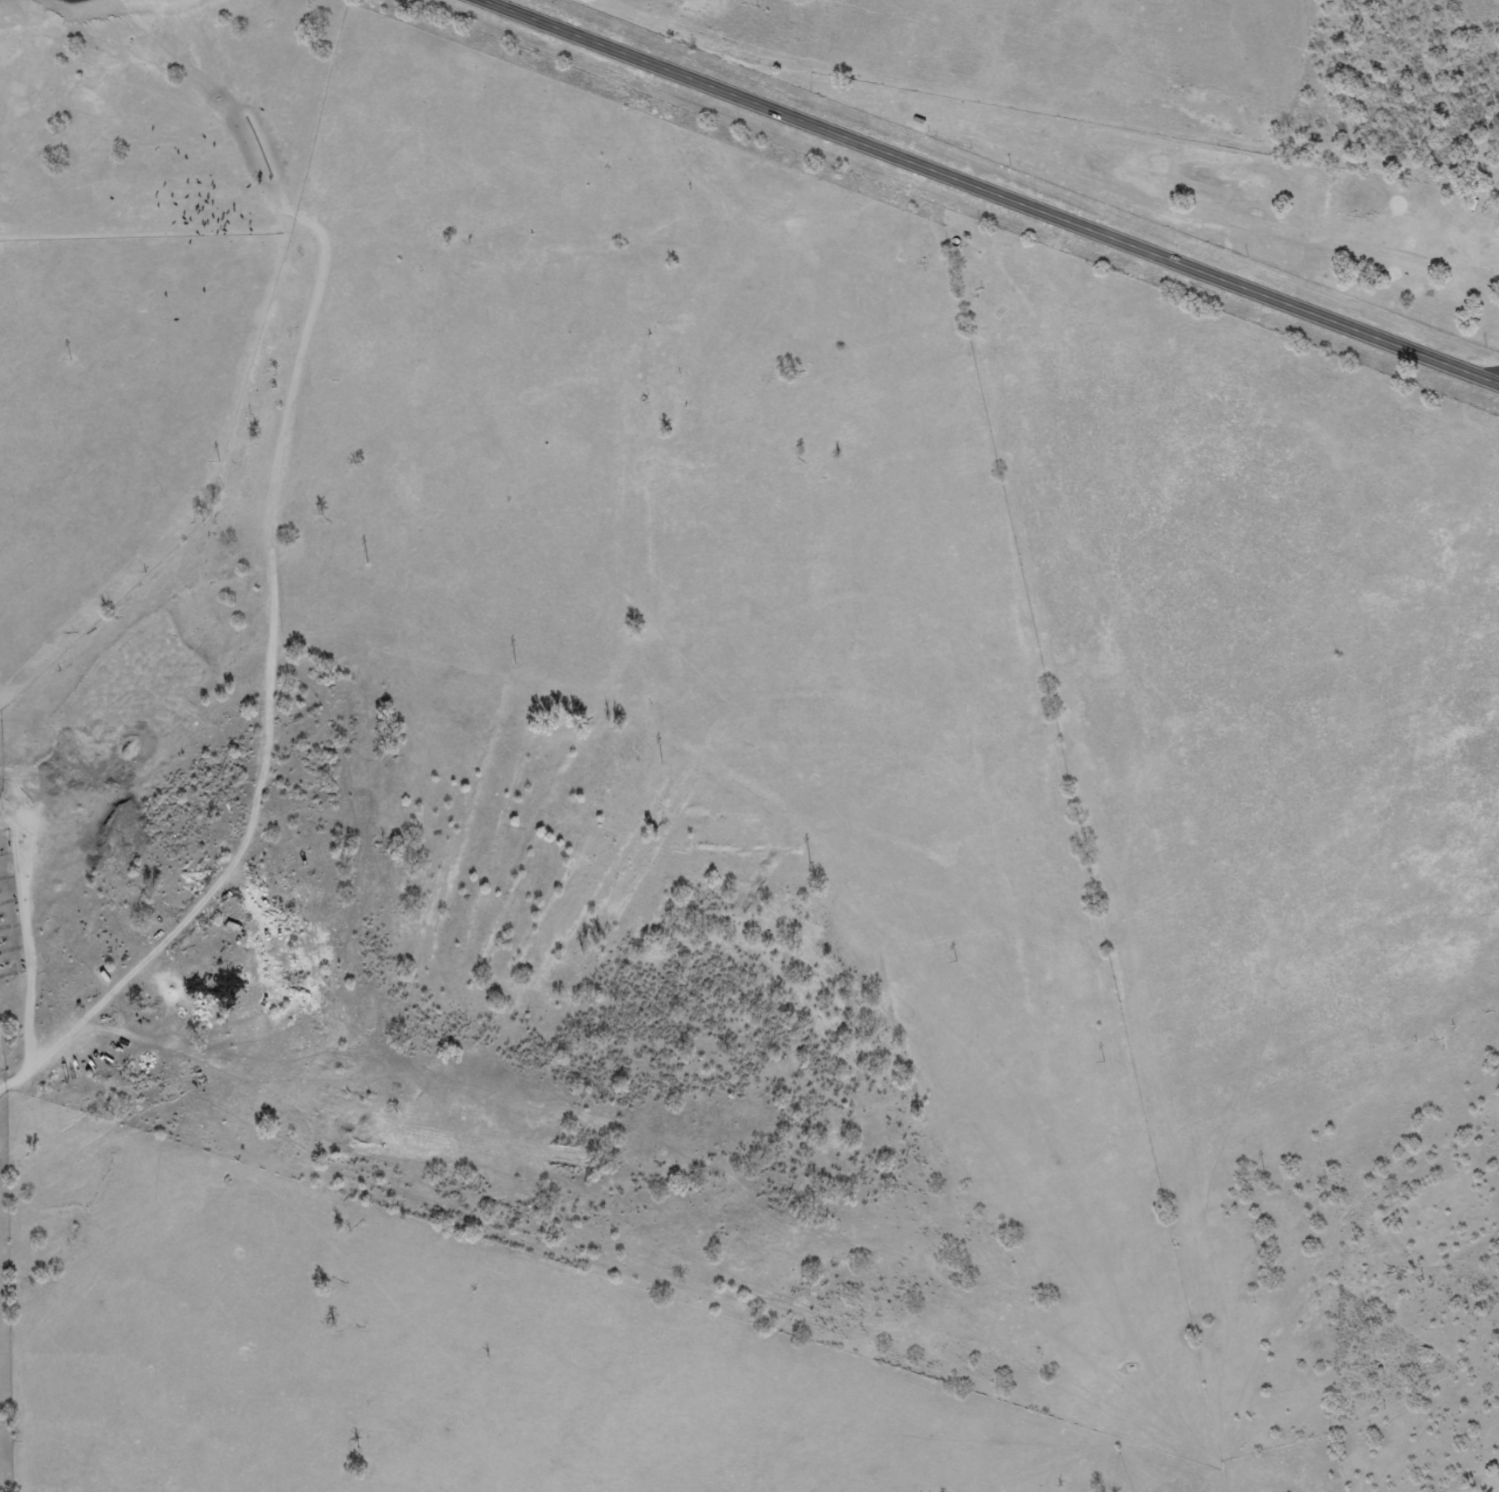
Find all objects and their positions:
road: (1000, 191)

